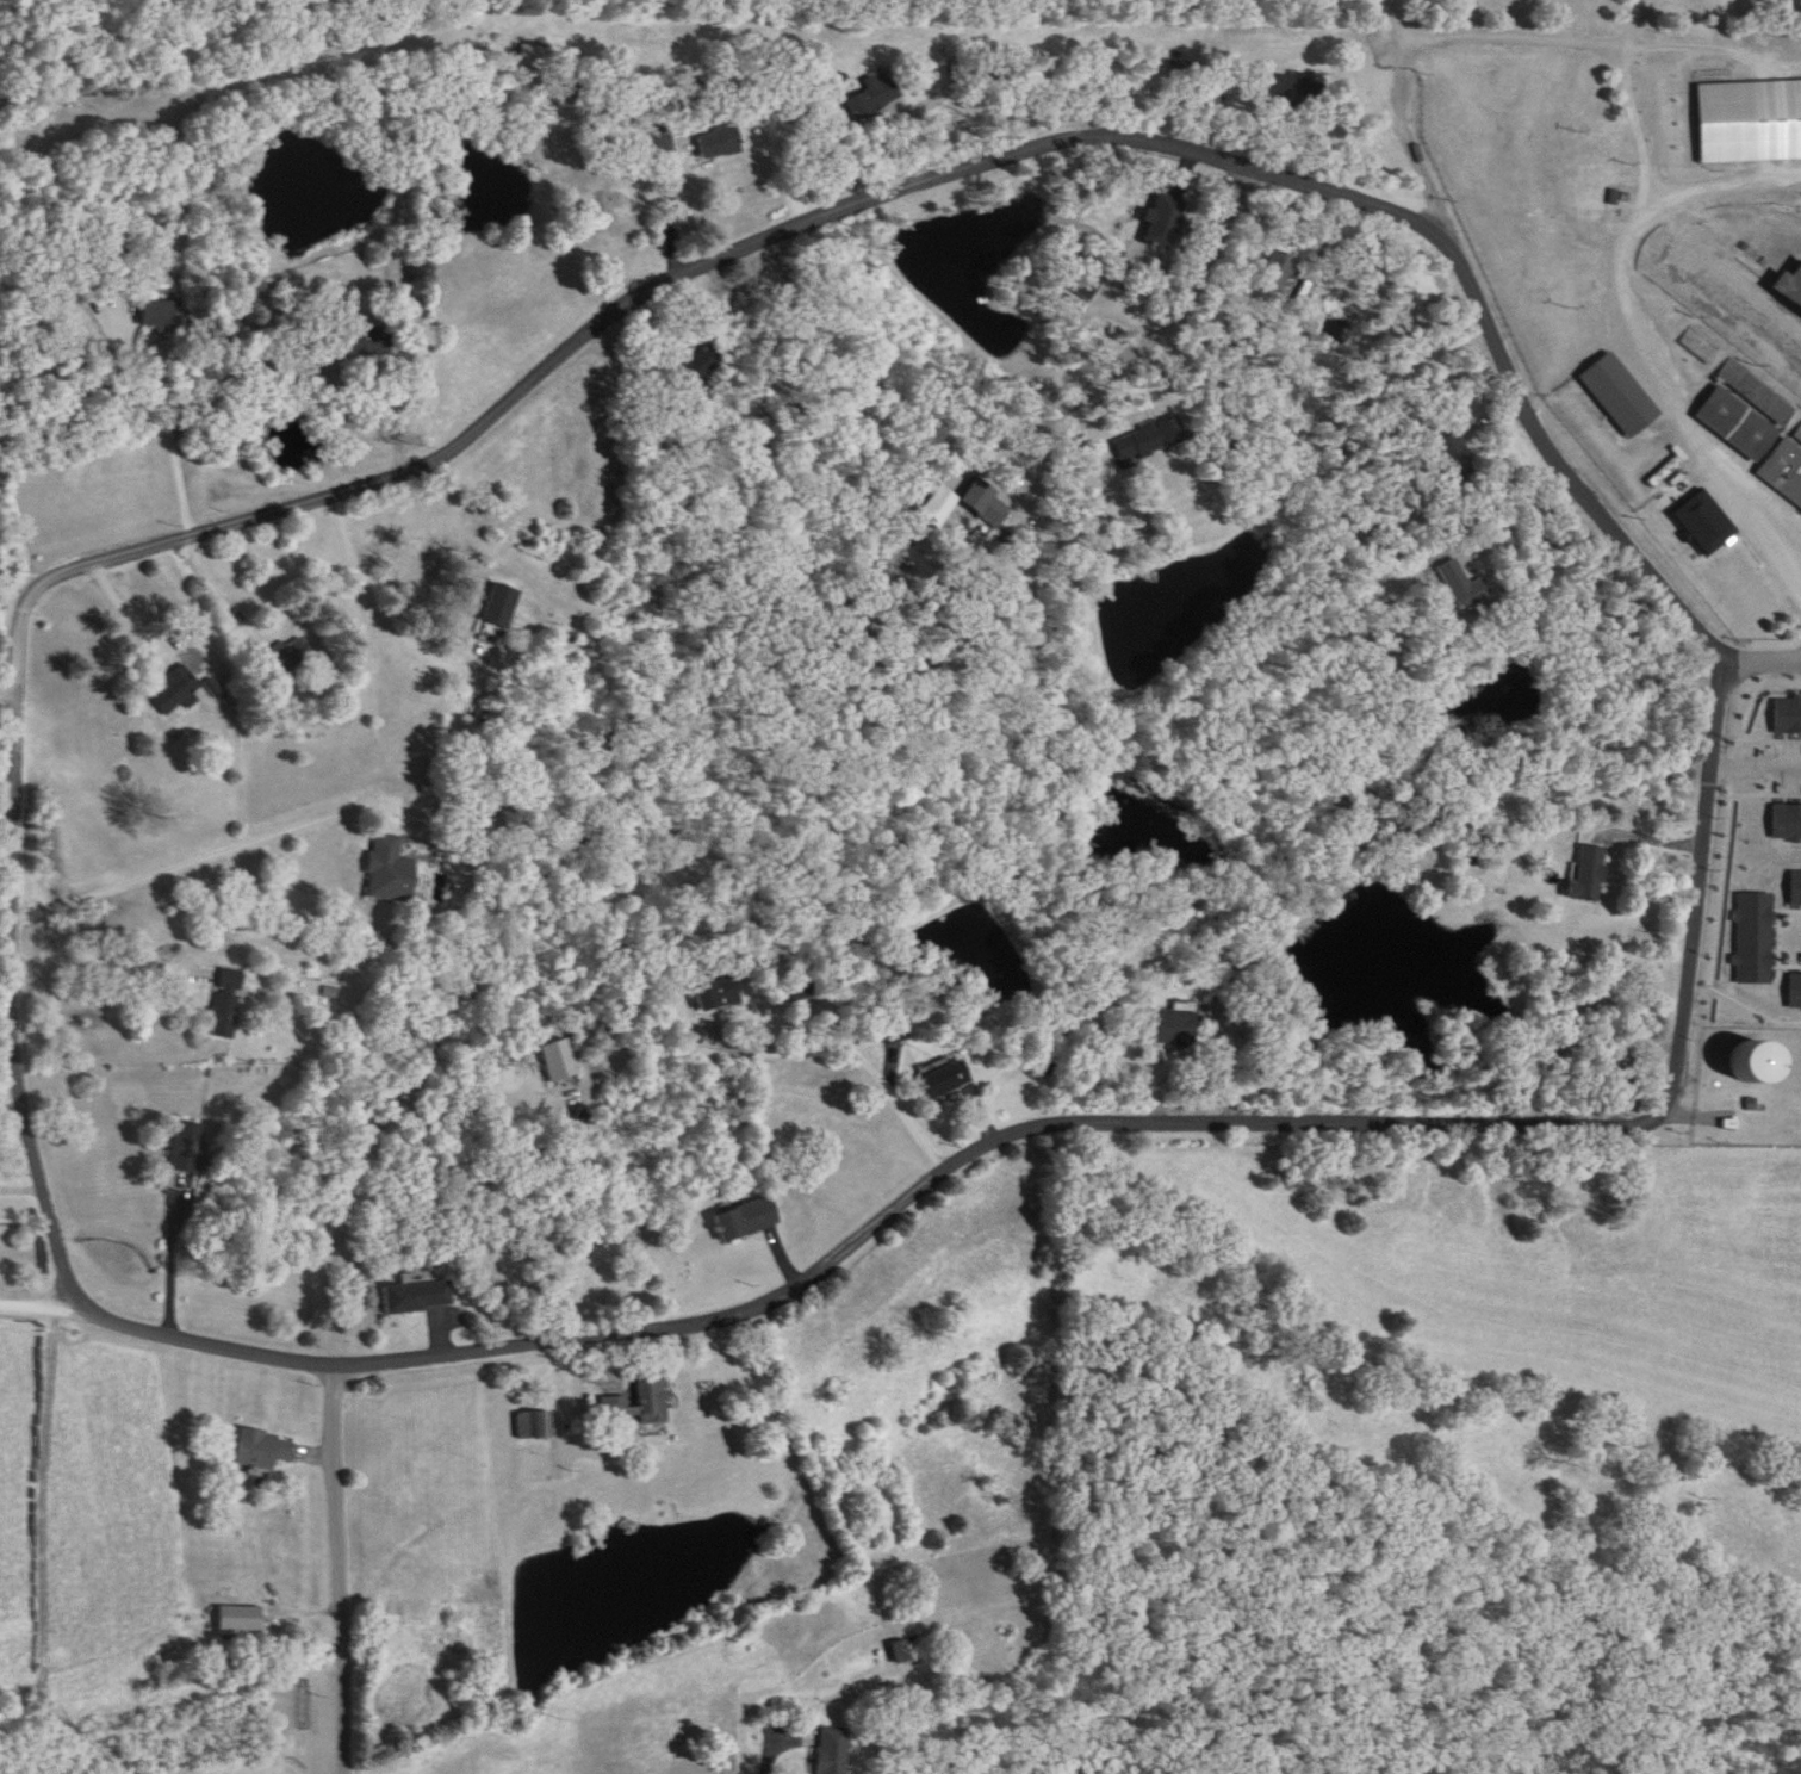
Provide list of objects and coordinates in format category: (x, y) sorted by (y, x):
road: (1402, 30)
road: (1513, 41)
building: (529, 60)
building: (874, 98)
road: (1628, 100)
building: (1751, 122)
building: (720, 143)
building: (1604, 169)
road: (677, 219)
building: (1160, 222)
building: (1279, 273)
building: (1790, 287)
building: (162, 315)
road: (1617, 316)
building: (362, 342)
building: (1741, 379)
building: (1621, 397)
road: (400, 409)
road: (1100, 411)
road: (496, 414)
building: (1149, 441)
road: (1004, 442)
building: (1757, 443)
building: (1663, 474)
road: (182, 502)
building: (987, 504)
building: (939, 508)
road: (1520, 522)
building: (1706, 523)
building: (1462, 587)
building: (502, 615)
road: (387, 618)
road: (141, 622)
building: (288, 659)
road: (1763, 662)
road: (8, 691)
building: (178, 693)
building: (1760, 700)
road: (1757, 763)
road: (198, 862)
building: (391, 874)
building: (1589, 874)
road: (112, 967)
building: (718, 995)
building: (226, 1005)
building: (1176, 1030)
road: (1223, 1054)
building: (559, 1063)
road: (863, 1063)
building: (1759, 1065)
building: (948, 1081)
building: (187, 1150)
road: (346, 1180)
building: (749, 1222)
road: (170, 1263)
building: (418, 1297)
road: (44, 1305)
road: (1433, 1315)
road: (578, 1358)
building: (642, 1404)
building: (535, 1426)
road: (585, 1447)
building: (265, 1450)
road: (262, 1567)
road: (340, 1568)
building: (242, 1619)
road: (783, 1748)
building: (834, 1750)

